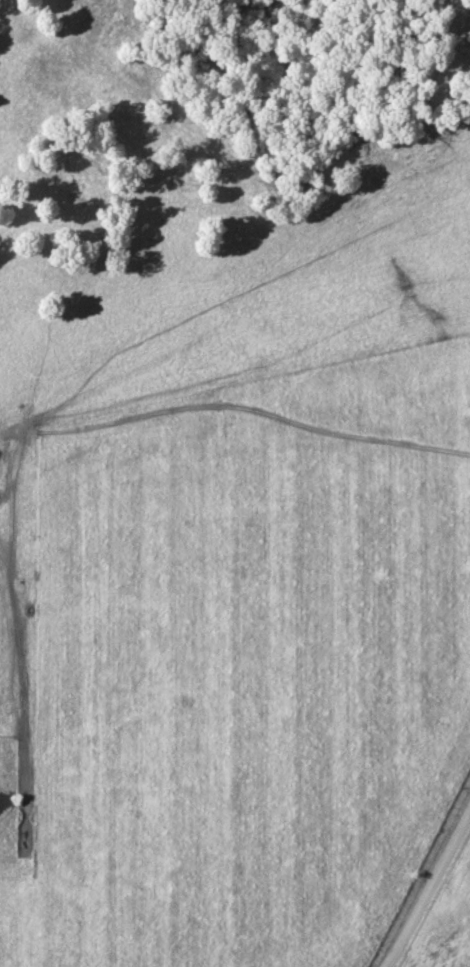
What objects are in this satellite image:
road: (426, 883)

